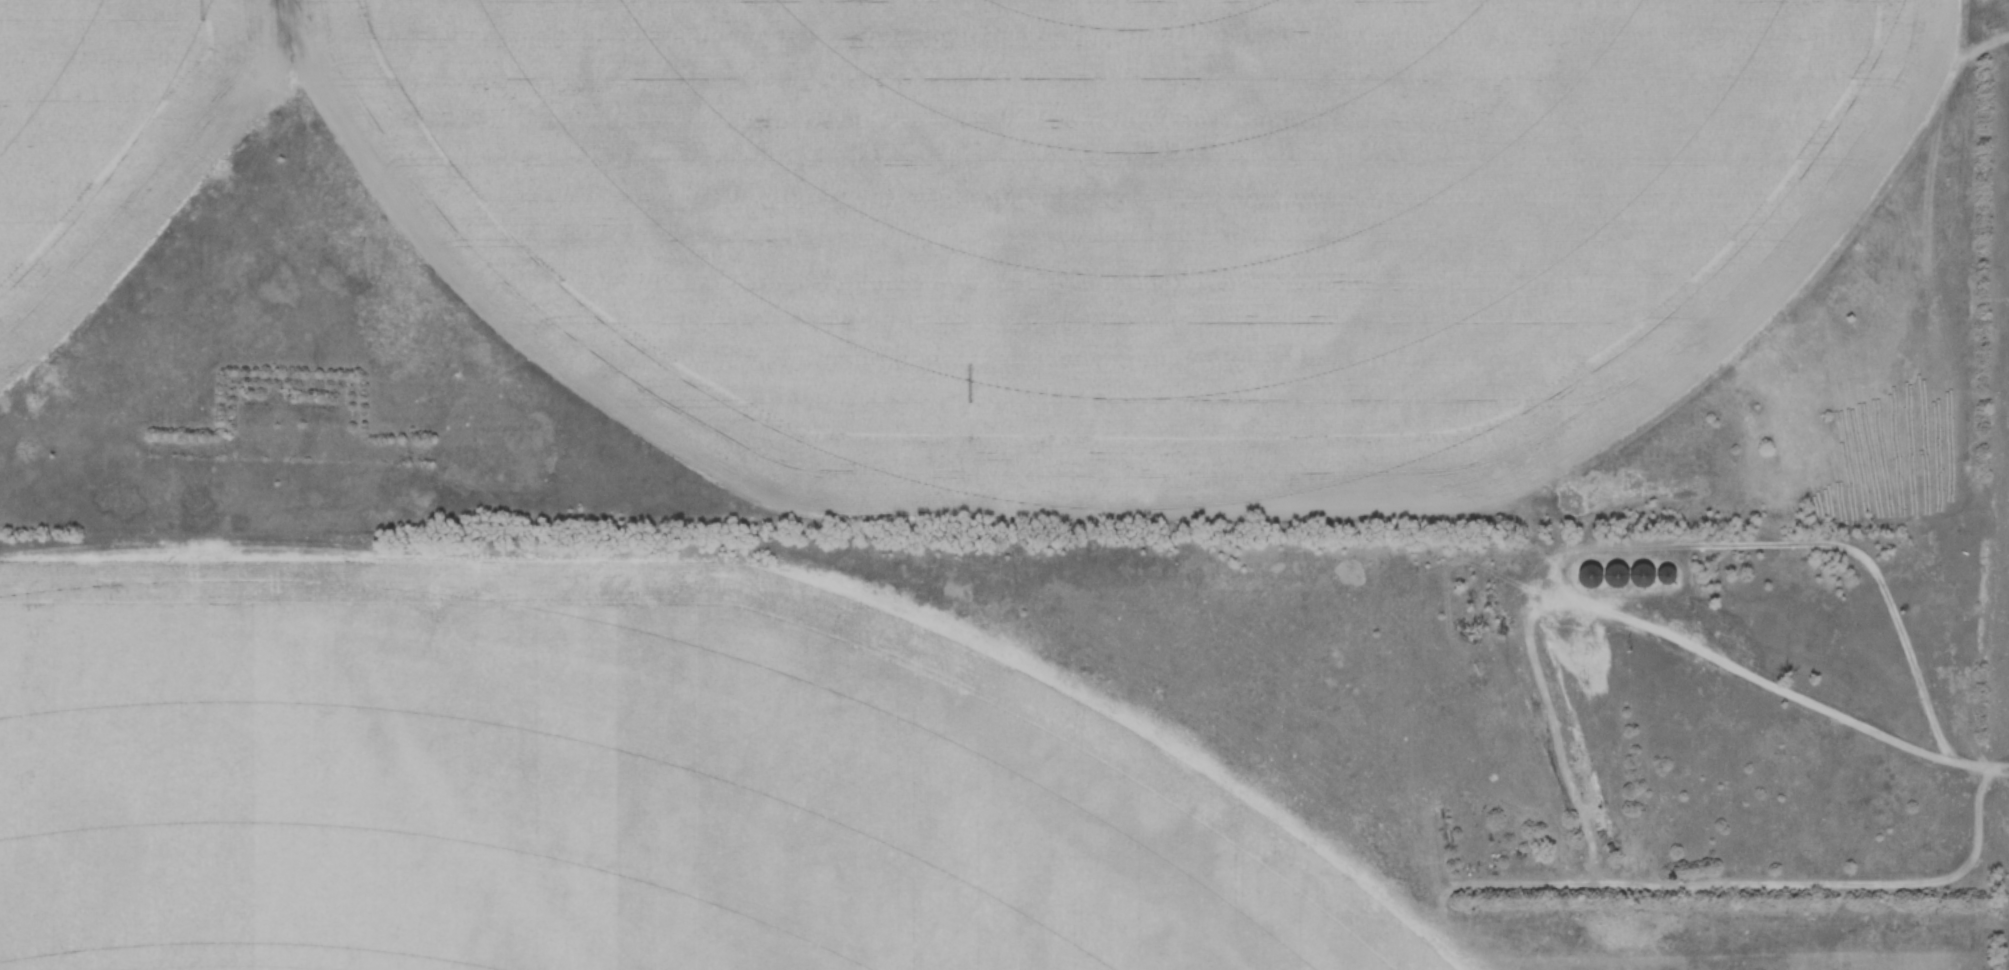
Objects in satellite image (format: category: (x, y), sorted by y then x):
building: (1588, 577)
building: (1627, 577)

